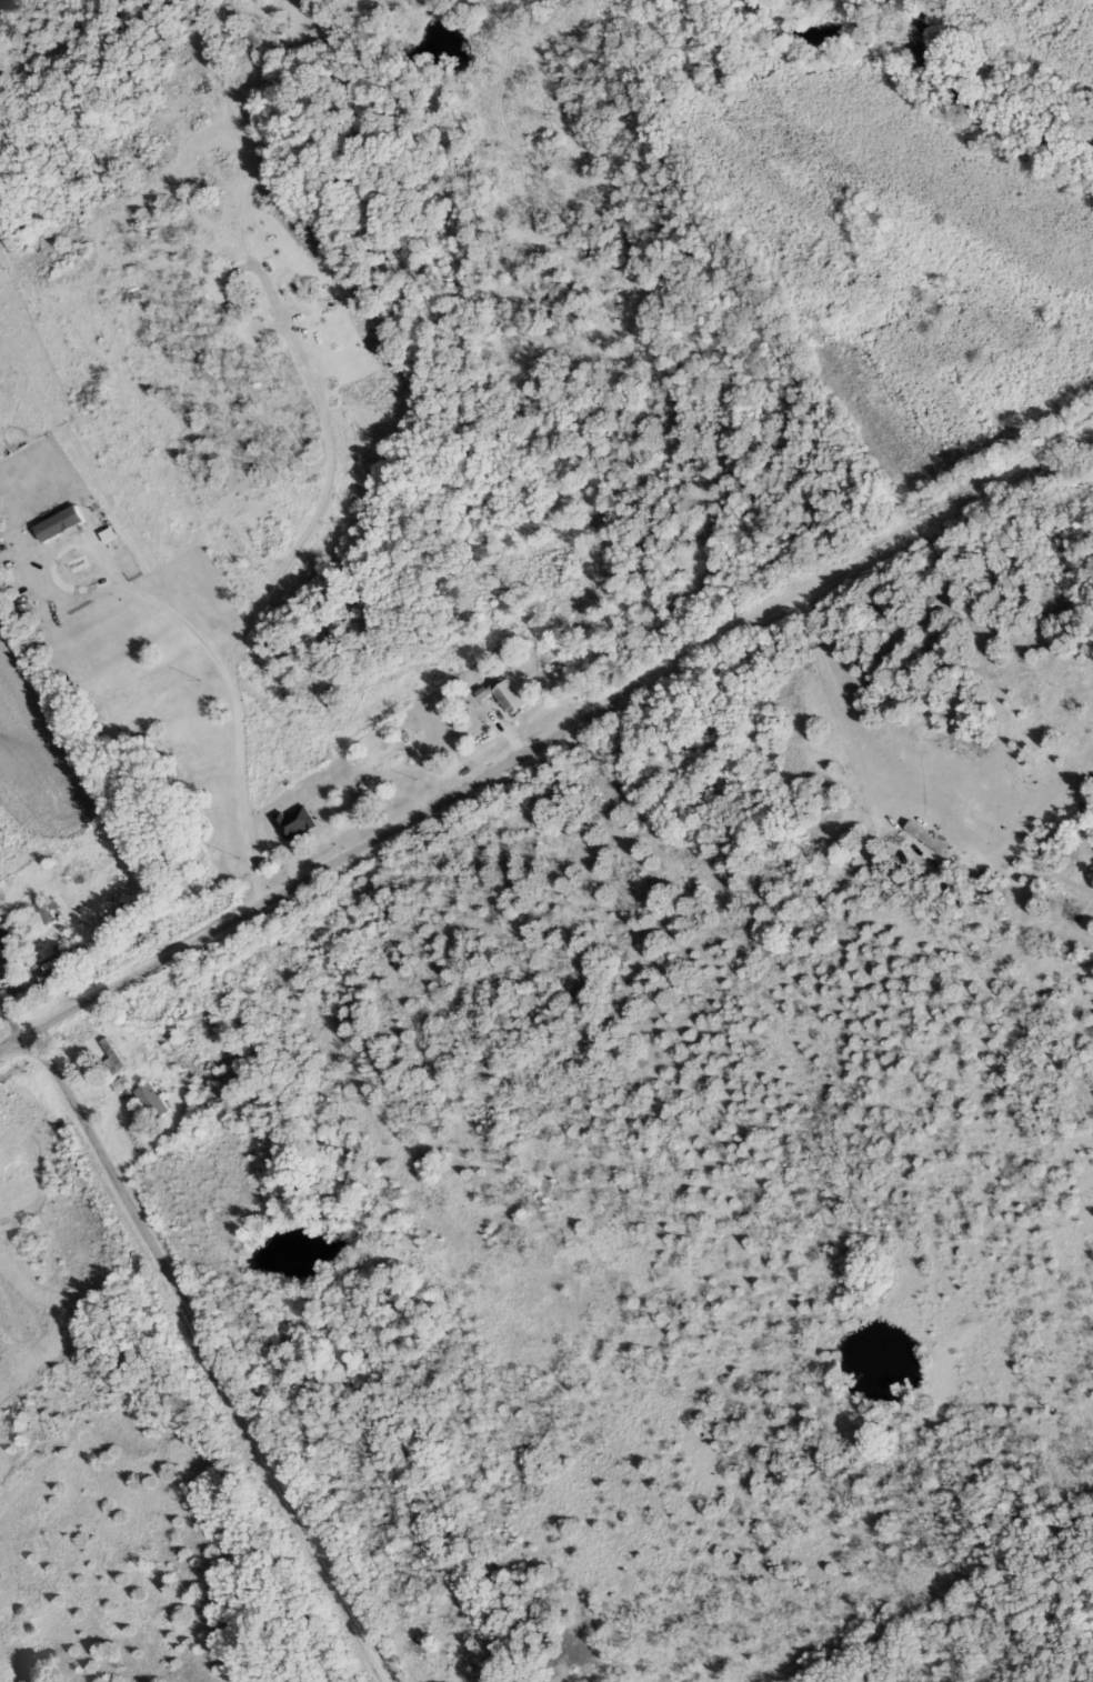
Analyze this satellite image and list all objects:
building: (61, 525)
road: (178, 549)
road: (61, 578)
building: (501, 694)
road: (237, 697)
road: (545, 735)
building: (290, 821)
building: (49, 912)
building: (40, 913)
building: (8, 937)
building: (6, 955)
building: (76, 958)
building: (48, 981)
road: (14, 1009)
building: (109, 1058)
building: (117, 1087)
road: (450, 1091)
road: (117, 1101)
building: (148, 1101)
road: (147, 1142)
road: (212, 1354)

